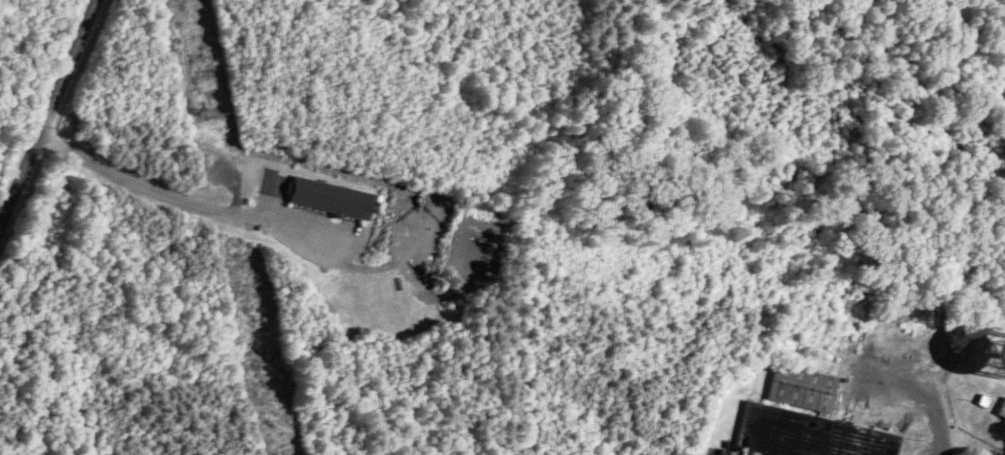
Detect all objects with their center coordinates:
road: (49, 111)
power tower: (210, 111)
road: (275, 223)
water tower: (999, 362)
road: (925, 406)
building: (1002, 412)
building: (805, 418)

